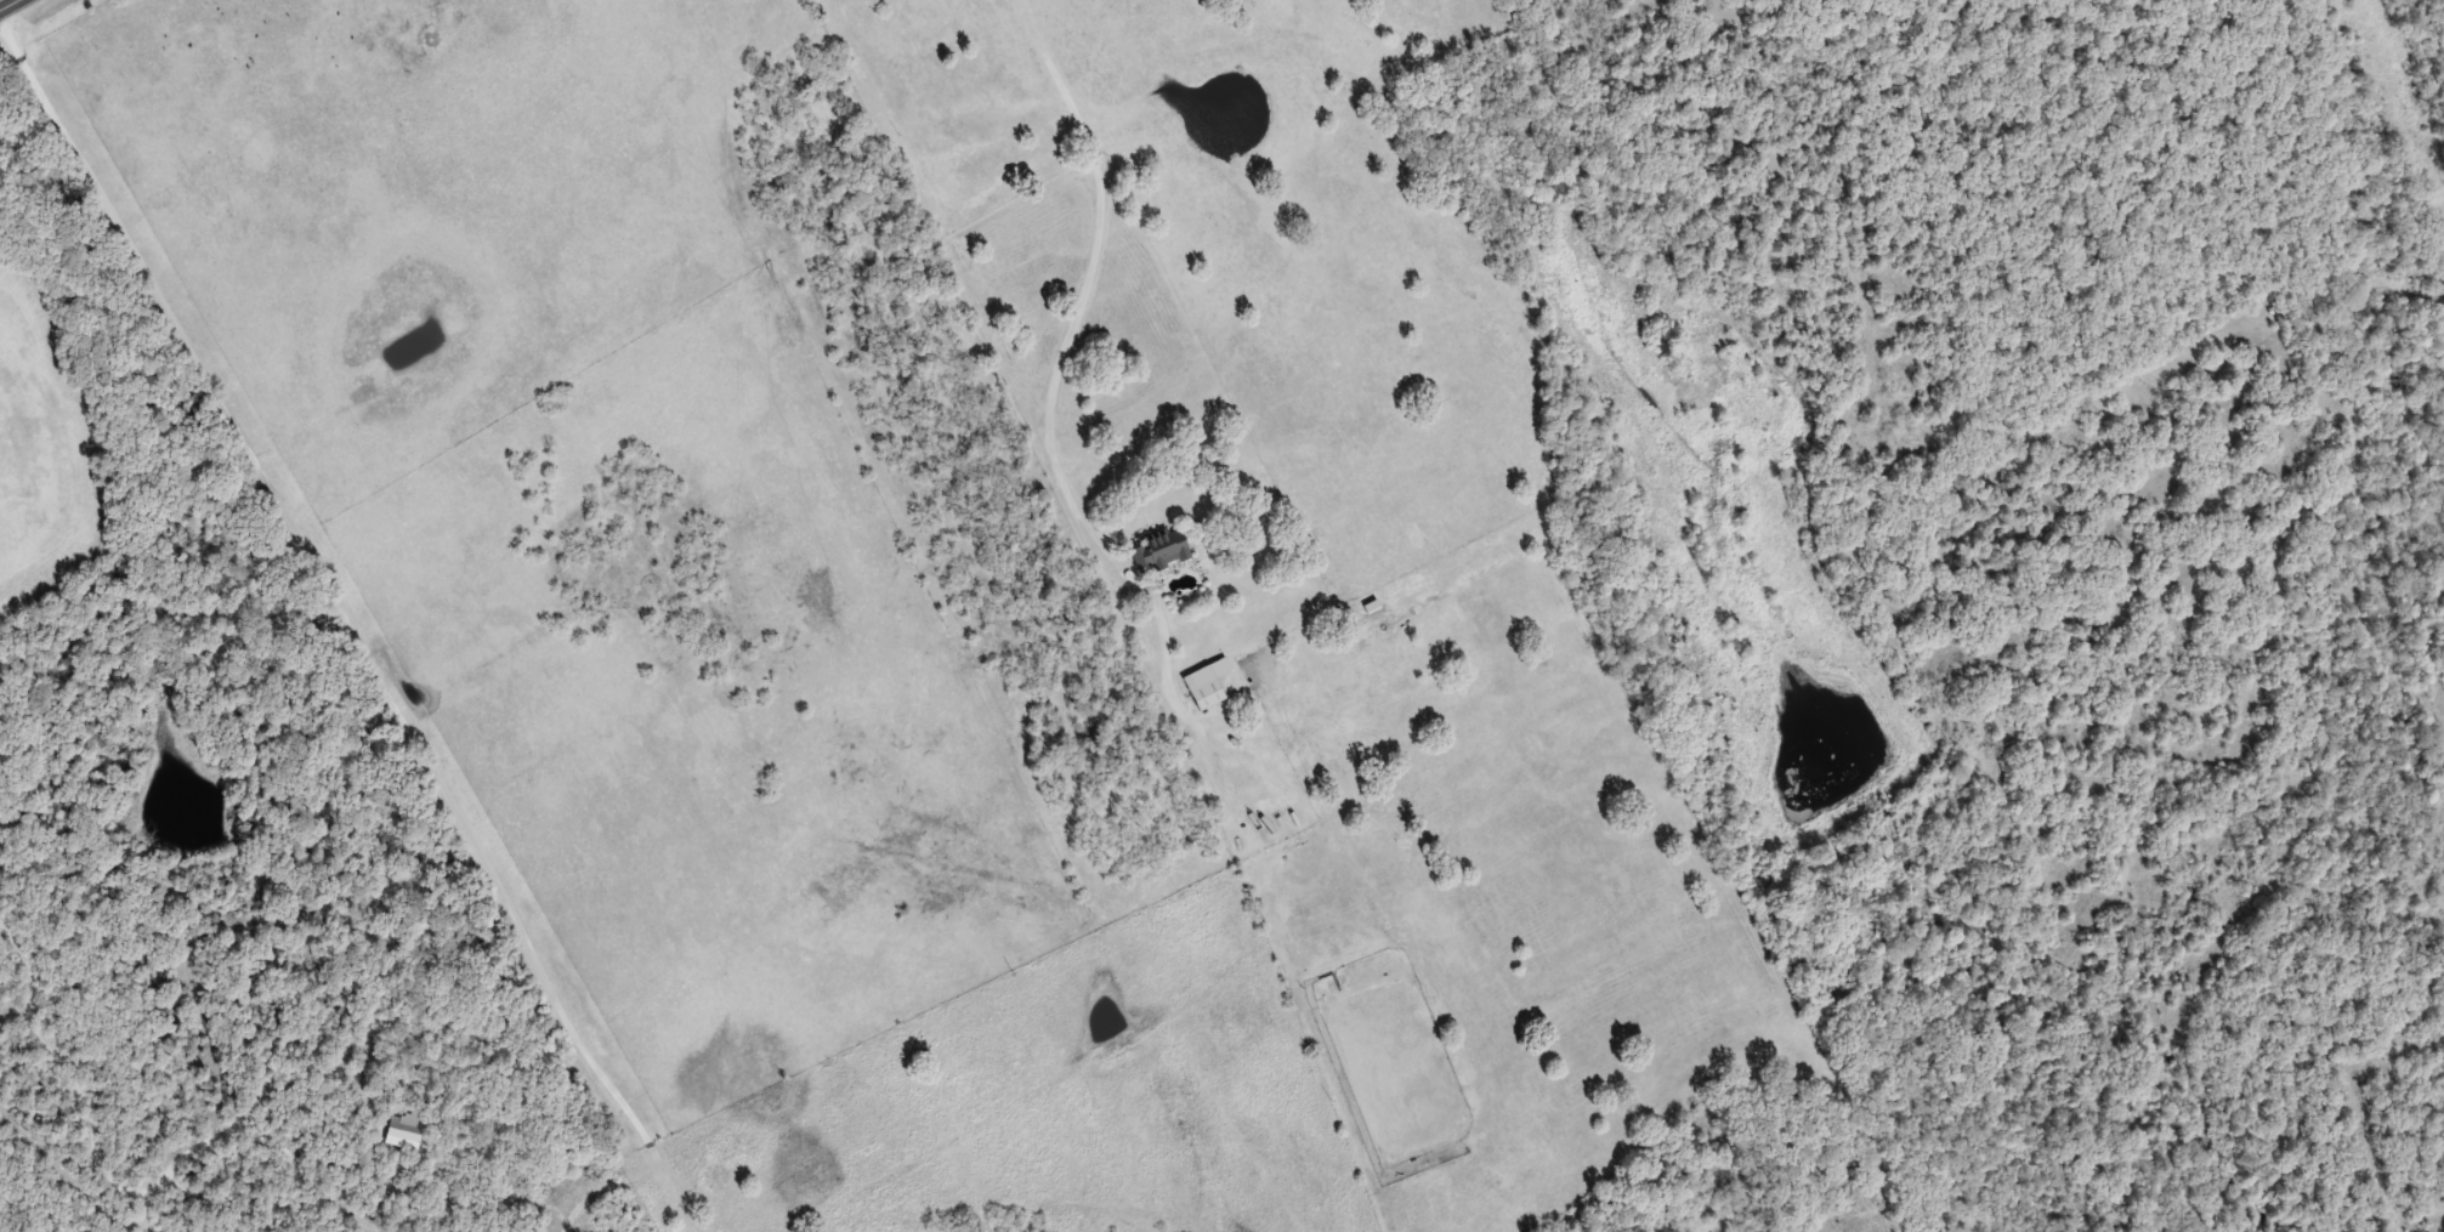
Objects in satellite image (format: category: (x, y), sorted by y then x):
road: (8, 5)
building: (966, 274)
road: (1062, 363)
building: (1159, 547)
road: (361, 626)
building: (1203, 686)
building: (404, 1128)

